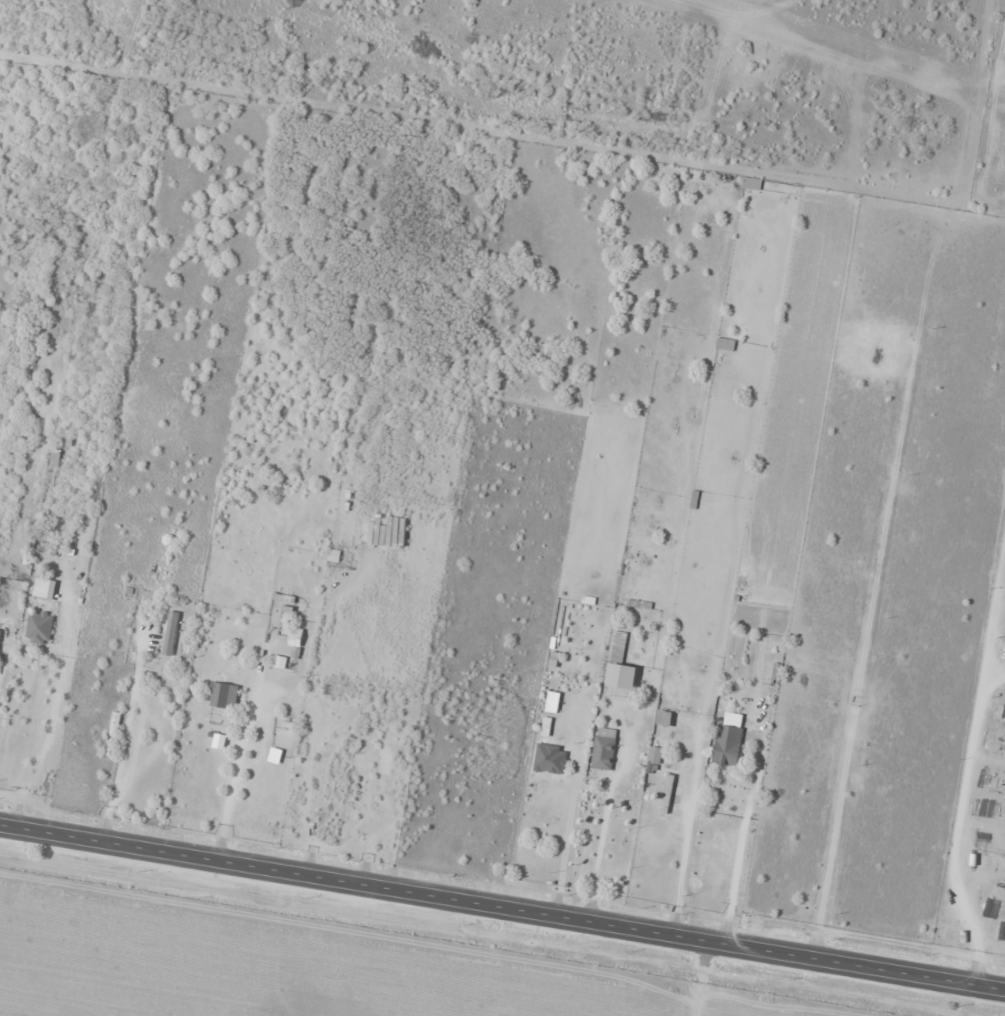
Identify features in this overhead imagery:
building: (751, 184)
building: (725, 345)
building: (54, 457)
building: (694, 500)
building: (42, 588)
building: (38, 628)
building: (170, 633)
building: (295, 635)
building: (223, 695)
building: (552, 702)
building: (634, 716)
building: (663, 718)
building: (114, 724)
building: (553, 742)
building: (727, 745)
building: (368, 755)
building: (610, 778)
road: (502, 907)
road: (697, 978)

